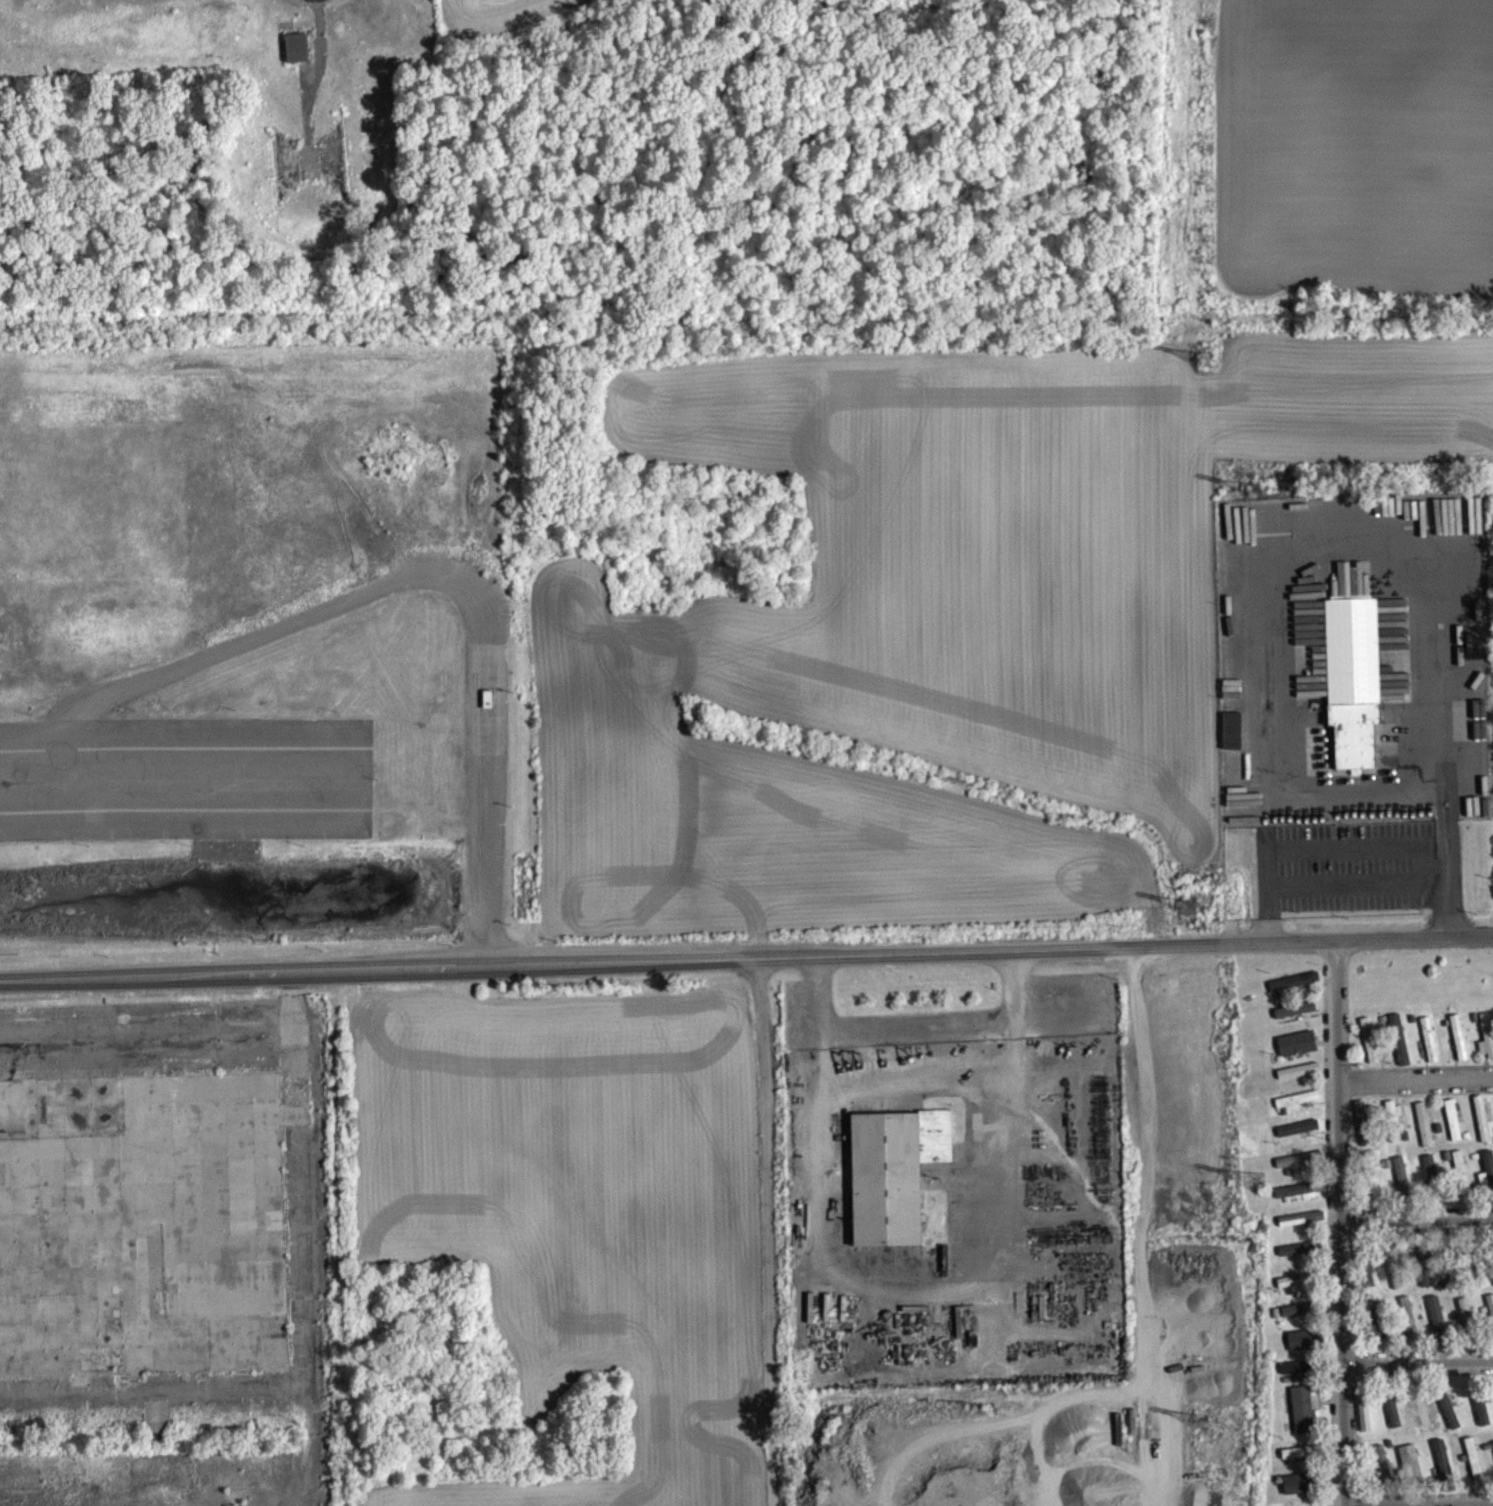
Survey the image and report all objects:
building: (298, 56)
road: (1287, 556)
road: (400, 592)
building: (1352, 678)
parking lot: (186, 779)
road: (165, 798)
road: (1368, 805)
road: (1450, 819)
road: (1444, 852)
road: (1456, 852)
road: (1361, 870)
power tower: (1194, 900)
road: (1453, 902)
road: (746, 955)
road: (1010, 982)
road: (818, 989)
building: (1296, 991)
building: (1296, 1019)
road: (917, 1020)
building: (1487, 1045)
building: (1460, 1047)
building: (1430, 1048)
building: (1370, 1049)
building: (1400, 1049)
building: (1298, 1052)
road: (1415, 1070)
building: (1299, 1108)
building: (1395, 1122)
building: (1483, 1128)
building: (1454, 1129)
building: (1363, 1132)
building: (1425, 1134)
building: (1300, 1168)
building: (893, 1170)
building: (1431, 1176)
power tower: (1254, 1177)
building: (1488, 1179)
building: (1462, 1183)
building: (1402, 1186)
building: (1375, 1194)
building: (1299, 1199)
road: (1416, 1210)
road: (1340, 1223)
building: (1302, 1227)
building: (1296, 1258)
building: (1480, 1268)
building: (1394, 1275)
building: (1369, 1285)
road: (911, 1287)
building: (1294, 1290)
building: (1491, 1313)
building: (1298, 1318)
building: (1467, 1322)
building: (1438, 1325)
building: (1408, 1327)
building: (1378, 1329)
building: (1303, 1349)
road: (1418, 1354)
building: (1298, 1376)
power tower: (1208, 1416)
building: (1449, 1418)
building: (1303, 1419)
building: (1421, 1419)
building: (1365, 1420)
building: (1394, 1420)
building: (1483, 1420)
building: (1299, 1463)
building: (1444, 1469)
building: (1475, 1469)
building: (1412, 1473)
building: (1383, 1474)
building: (1299, 1492)
road: (1419, 1493)

